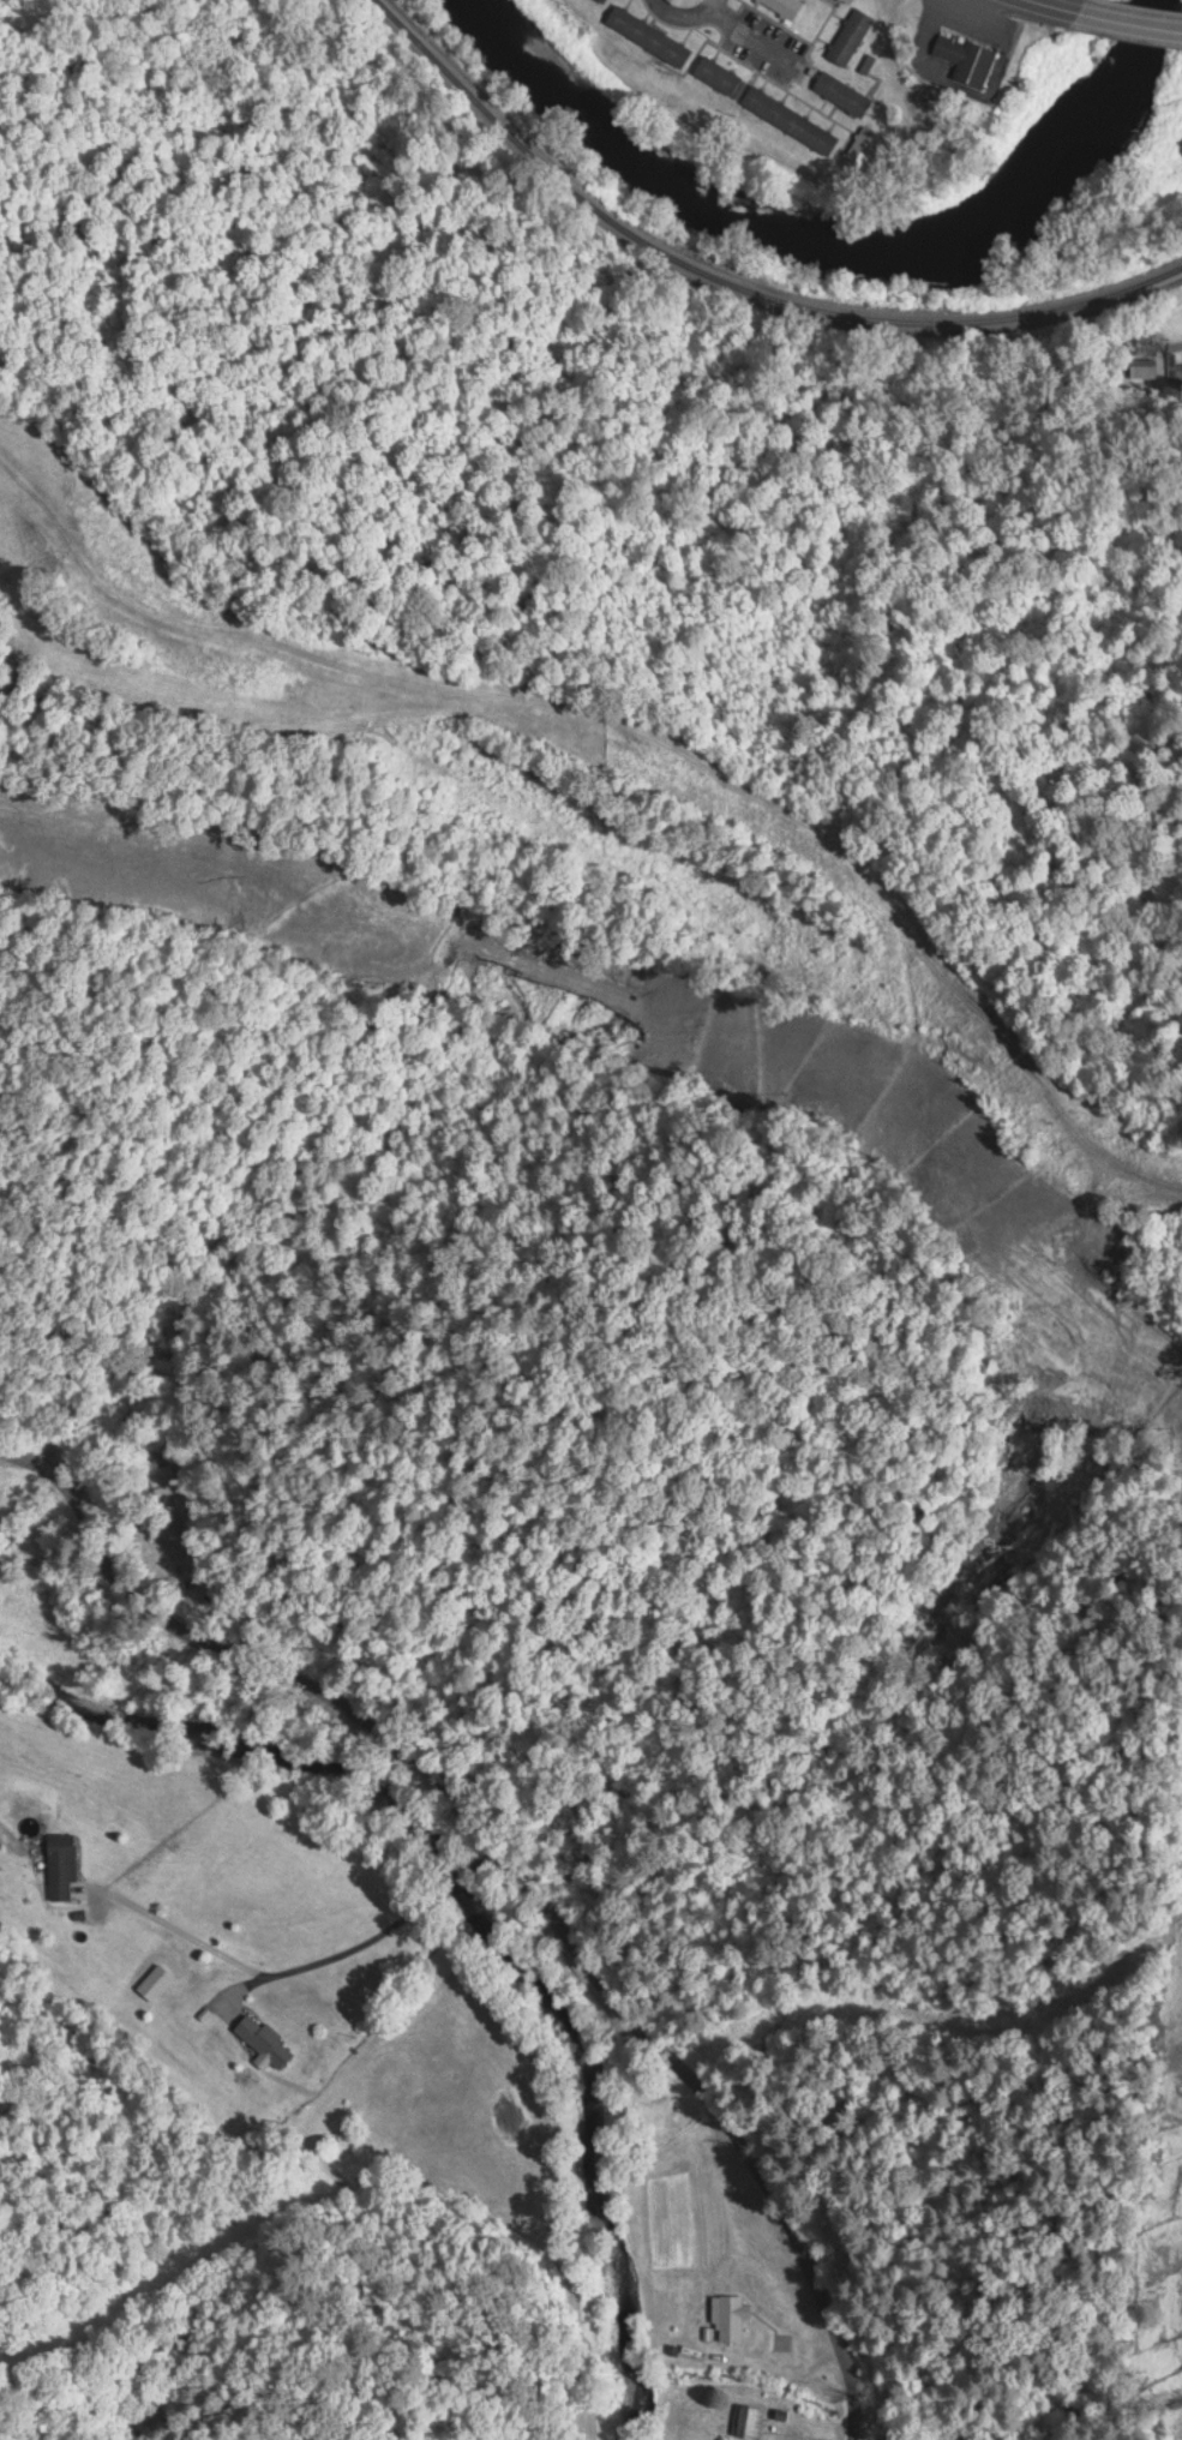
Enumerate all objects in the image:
building: (600, 0)
building: (845, 0)
road: (1060, 5)
building: (784, 6)
road: (683, 13)
road: (1129, 17)
road: (750, 30)
building: (647, 34)
building: (848, 35)
building: (964, 56)
building: (716, 73)
building: (840, 91)
building: (787, 118)
river: (836, 248)
railway: (737, 278)
road: (1162, 340)
building: (1177, 365)
building: (1140, 366)
building: (161, 1477)
road: (517, 1859)
building: (59, 1863)
river: (482, 1920)
building: (152, 1980)
building: (262, 2038)
building: (728, 2315)
building: (746, 2420)

